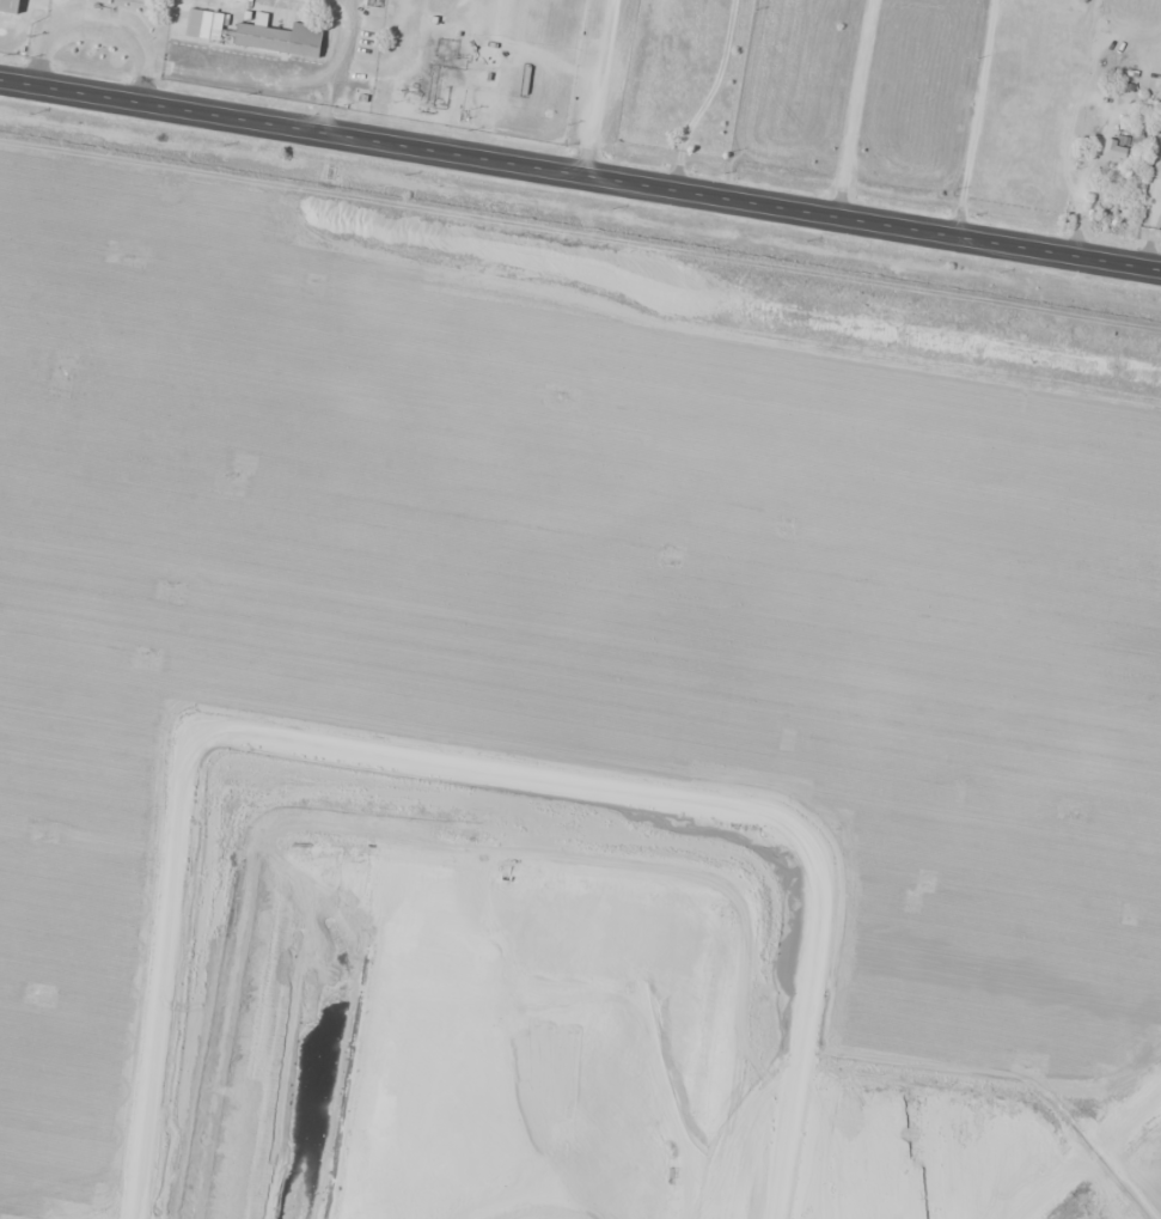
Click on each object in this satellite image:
building: (10, 5)
building: (206, 25)
building: (281, 38)
road: (593, 87)
building: (1141, 123)
road: (580, 176)
landfill: (562, 731)

